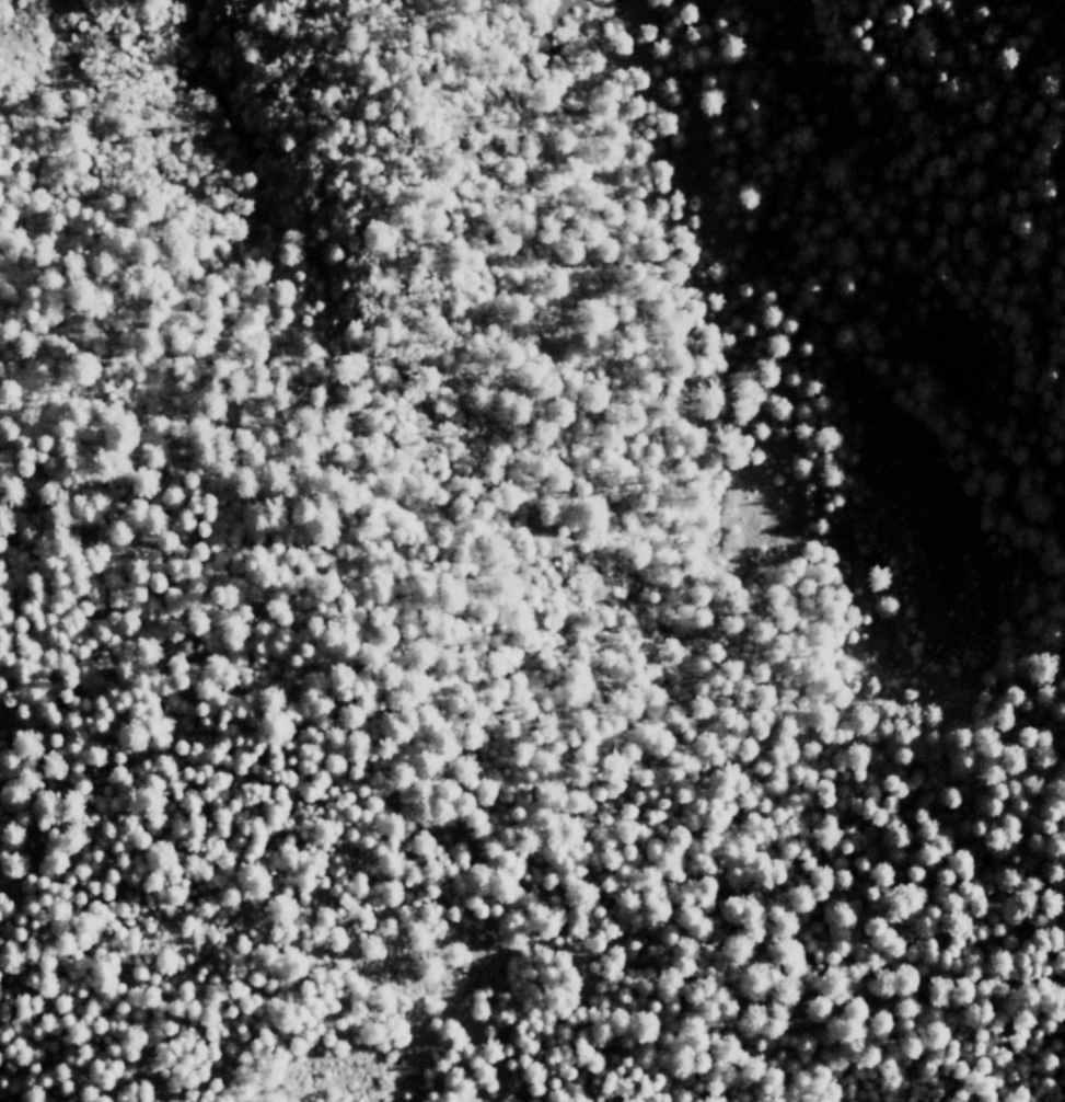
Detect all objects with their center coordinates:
road: (514, 937)

